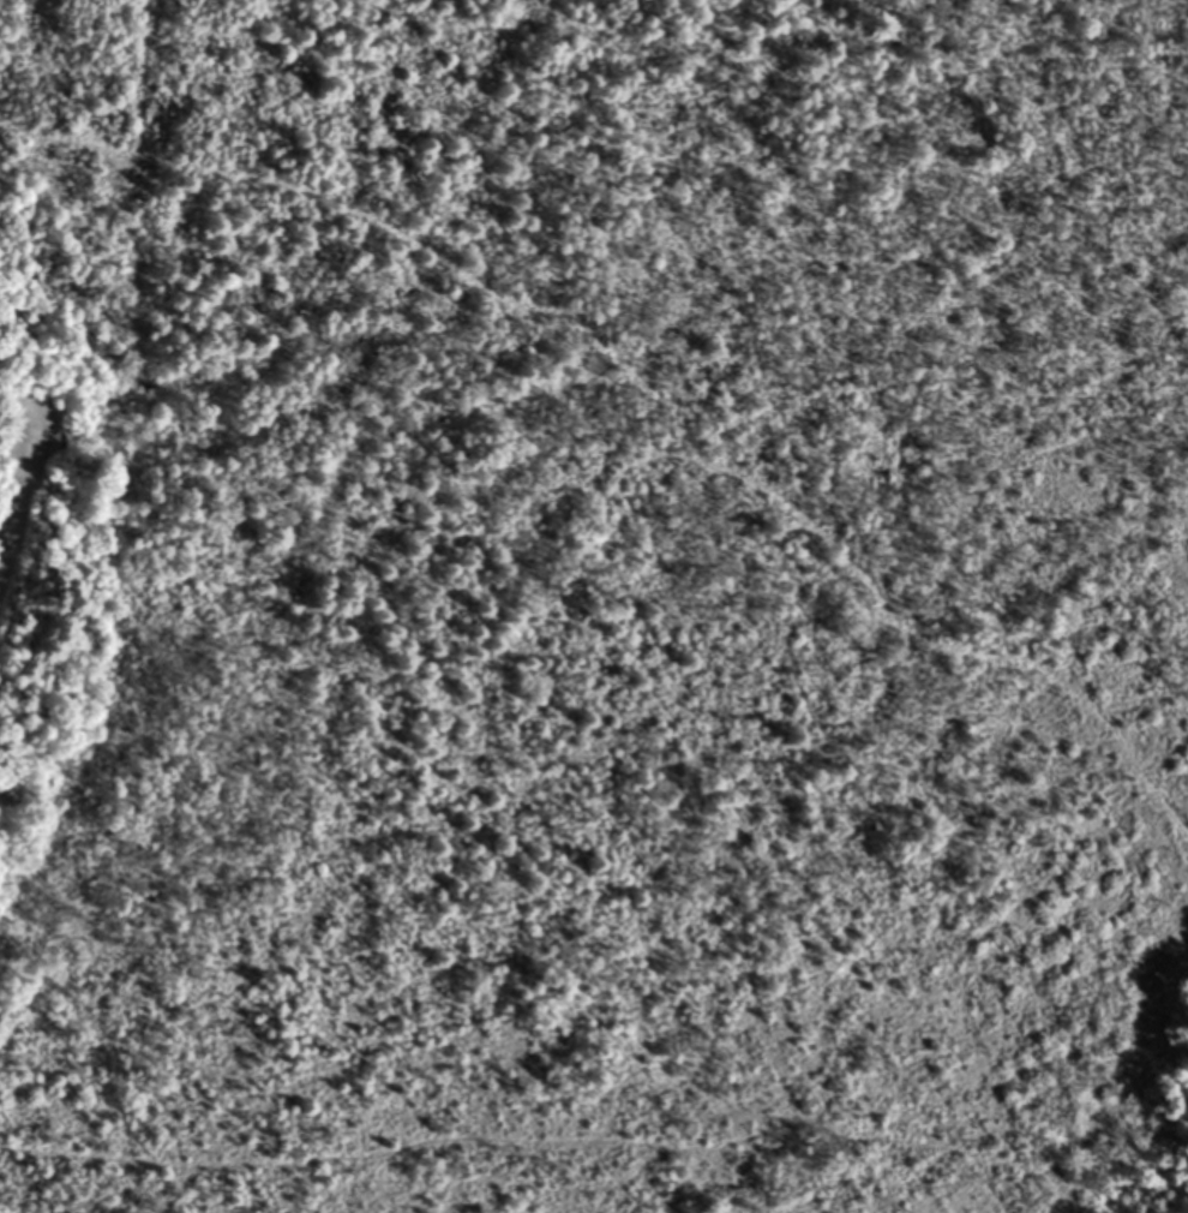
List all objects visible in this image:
park: (24, 509)

